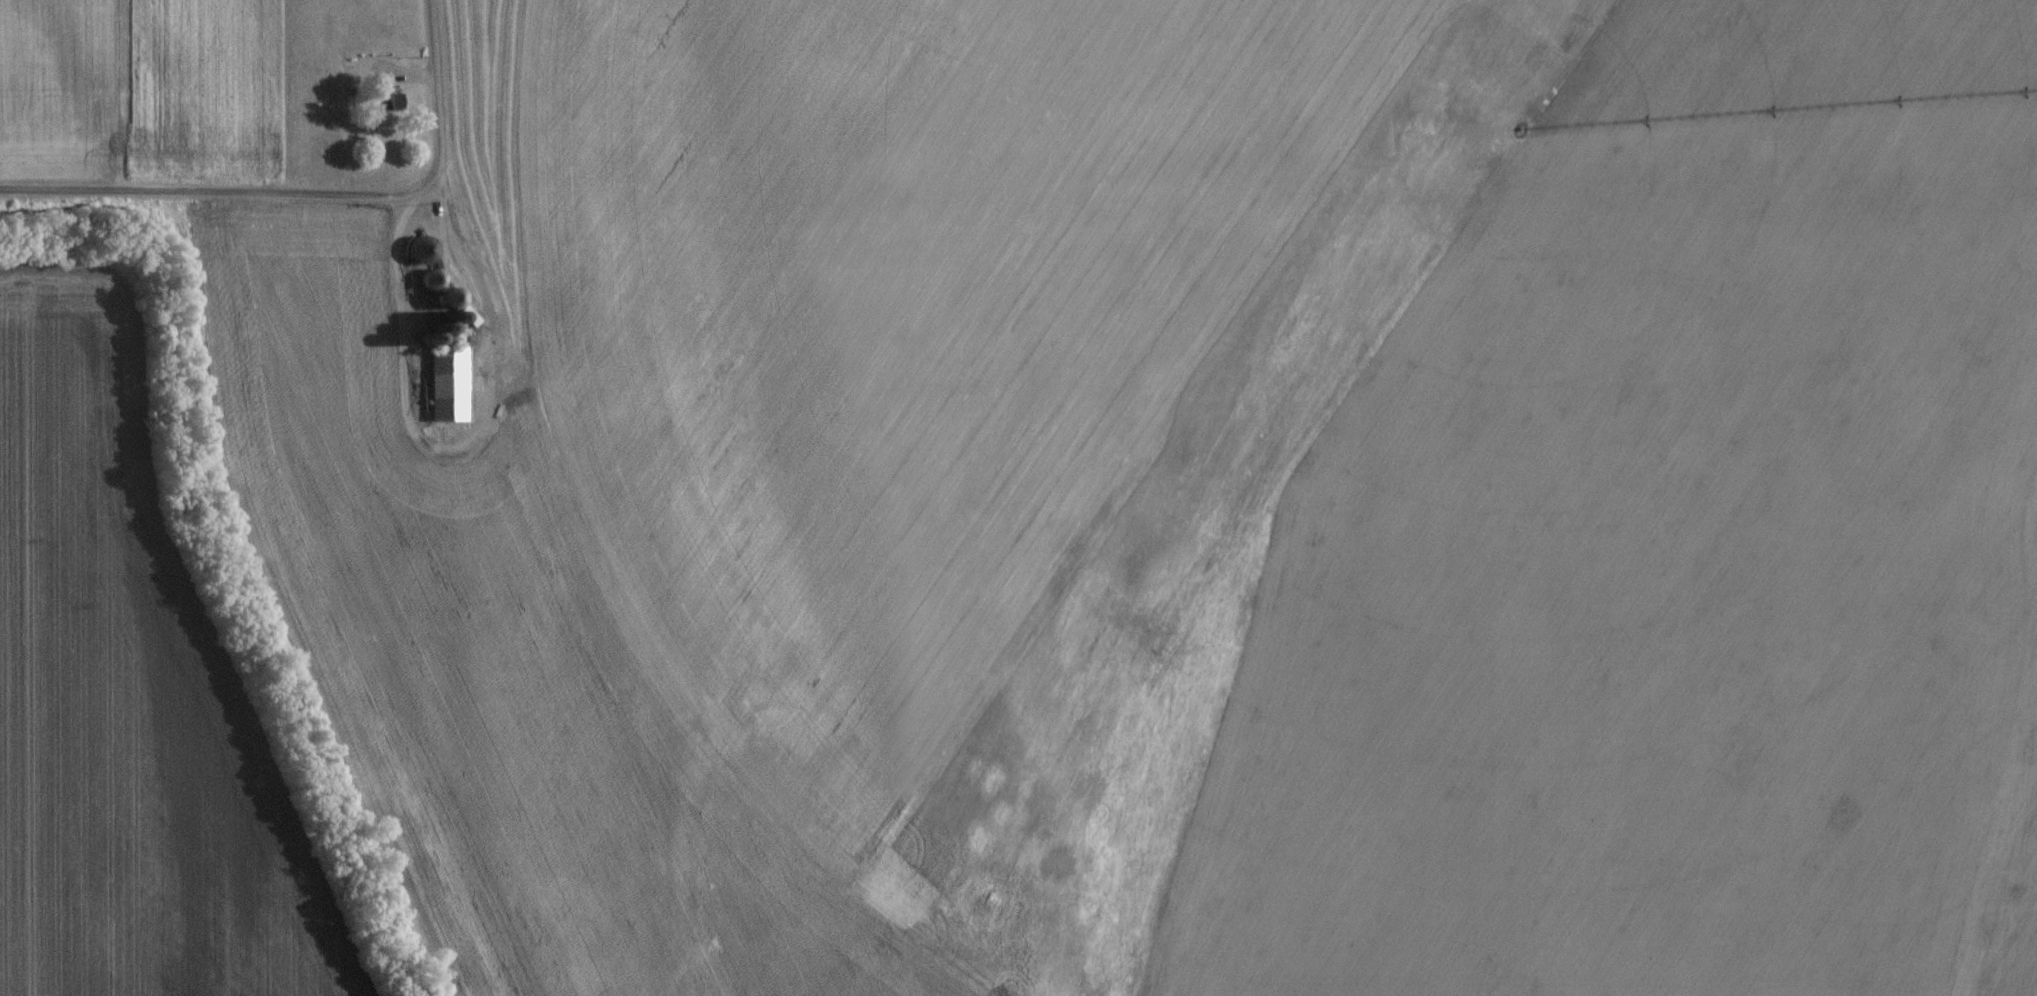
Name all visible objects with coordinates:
road: (312, 201)
building: (424, 256)
building: (446, 391)
road: (463, 453)

